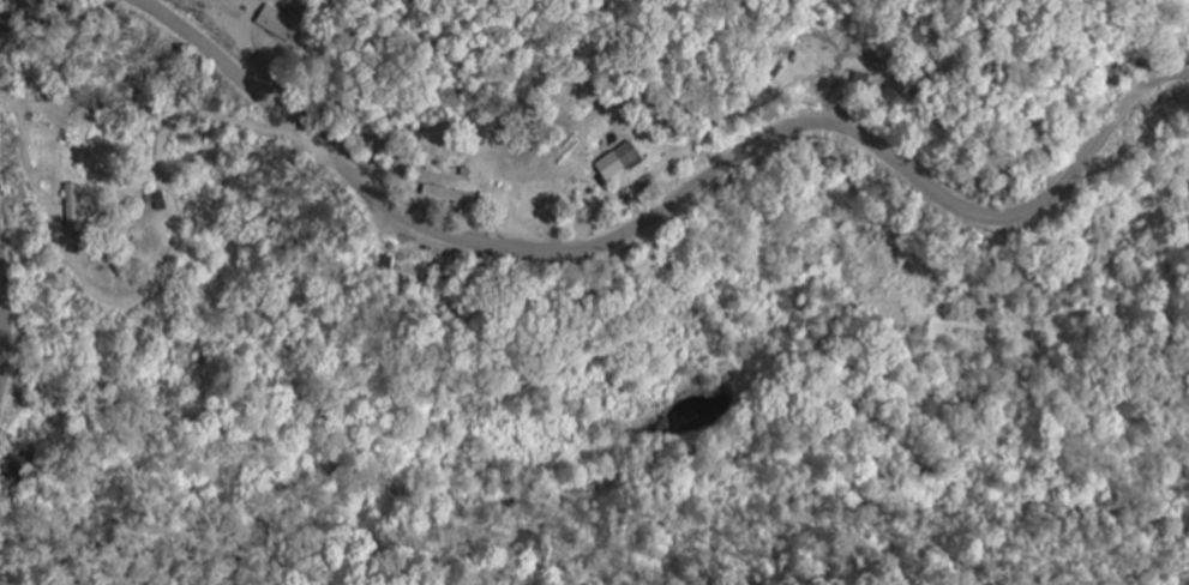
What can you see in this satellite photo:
road: (14, 19)
building: (280, 25)
road: (472, 114)
building: (619, 161)
building: (449, 194)
road: (669, 205)
road: (154, 281)
road: (4, 324)

